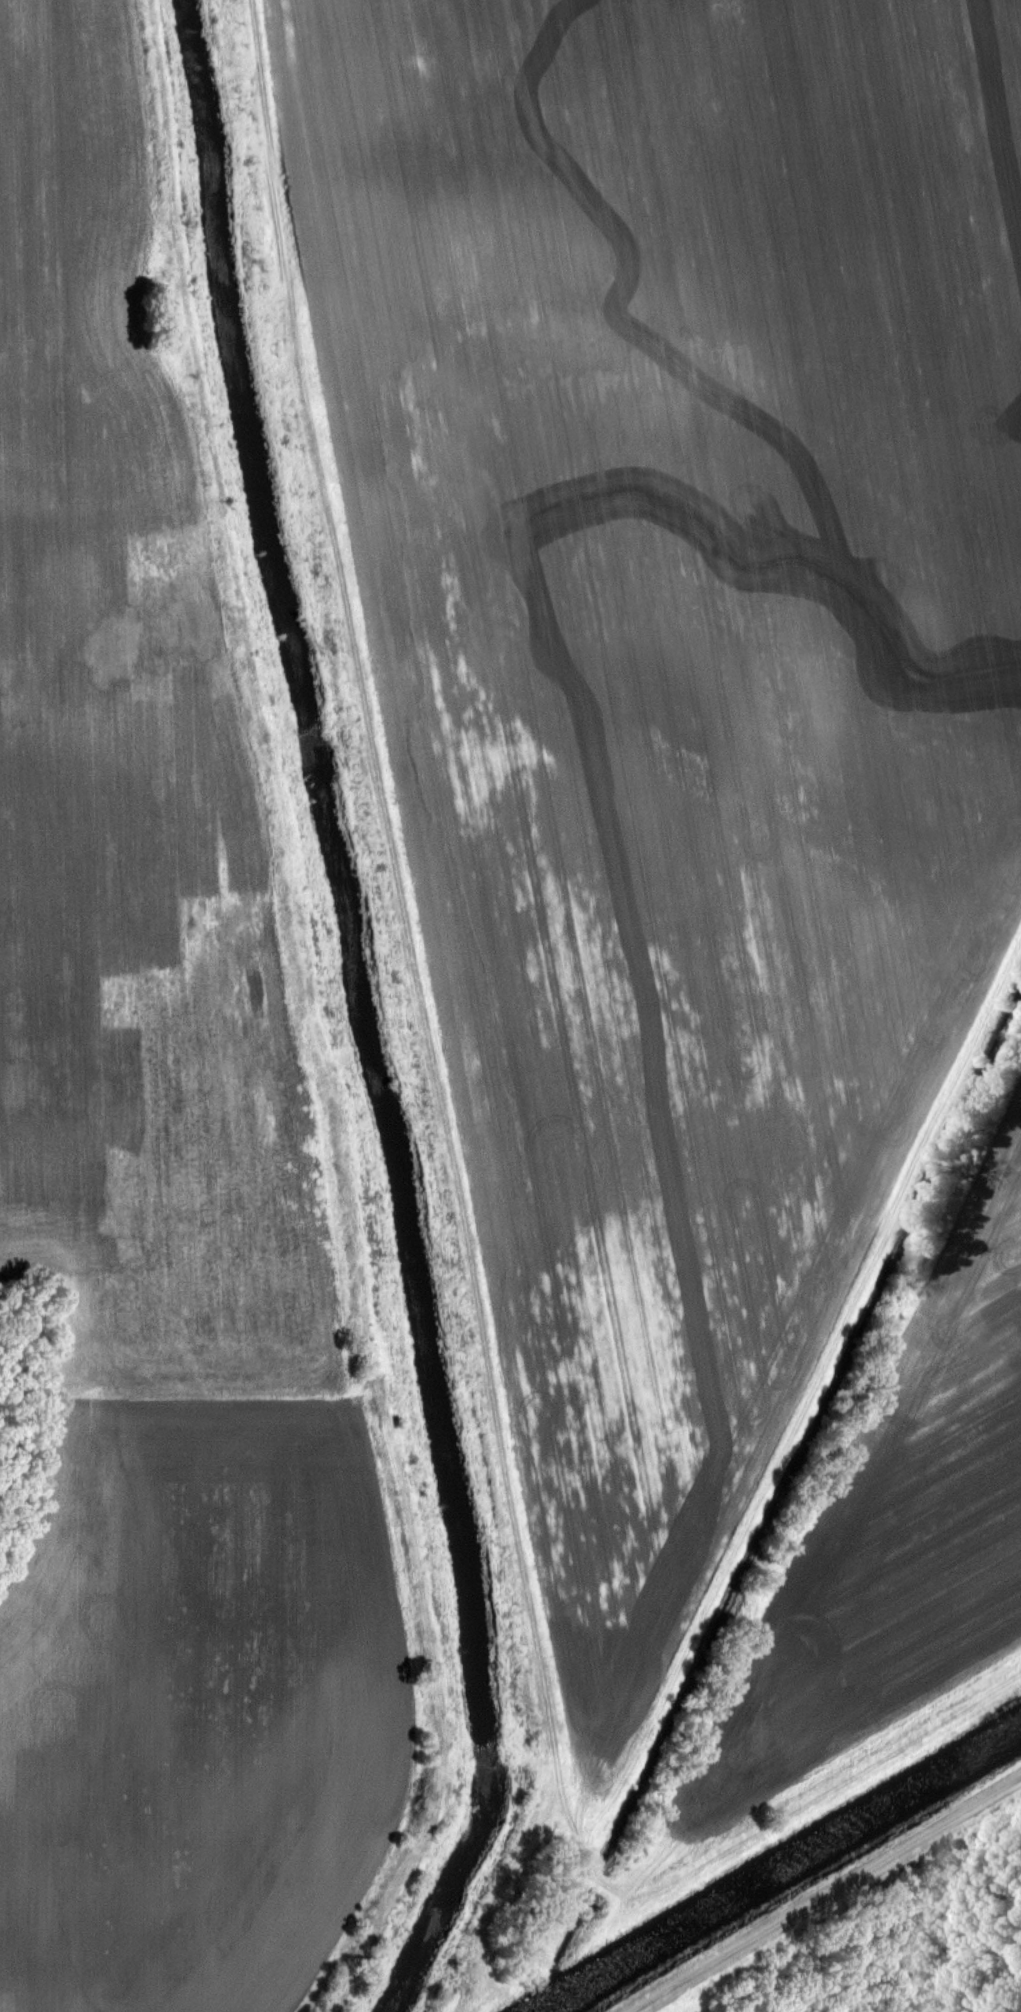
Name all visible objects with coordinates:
road: (811, 1886)

